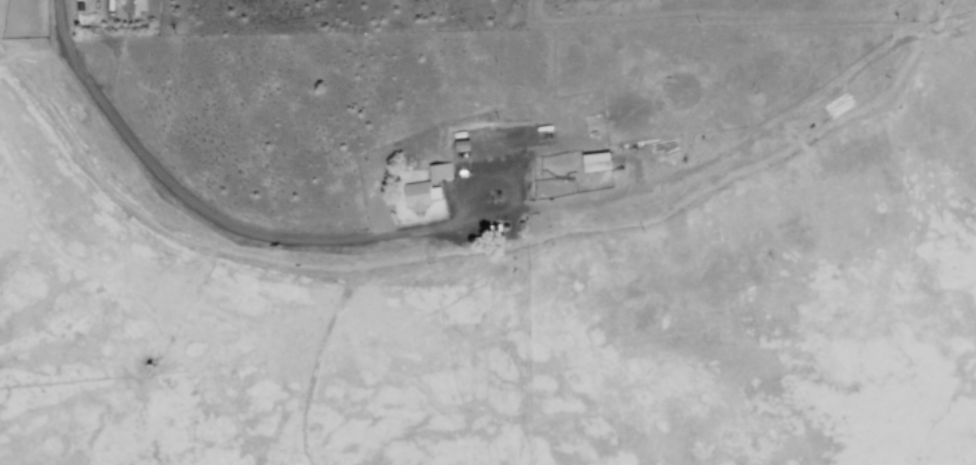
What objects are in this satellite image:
building: (132, 6)
building: (592, 162)
building: (424, 188)
road: (200, 220)

